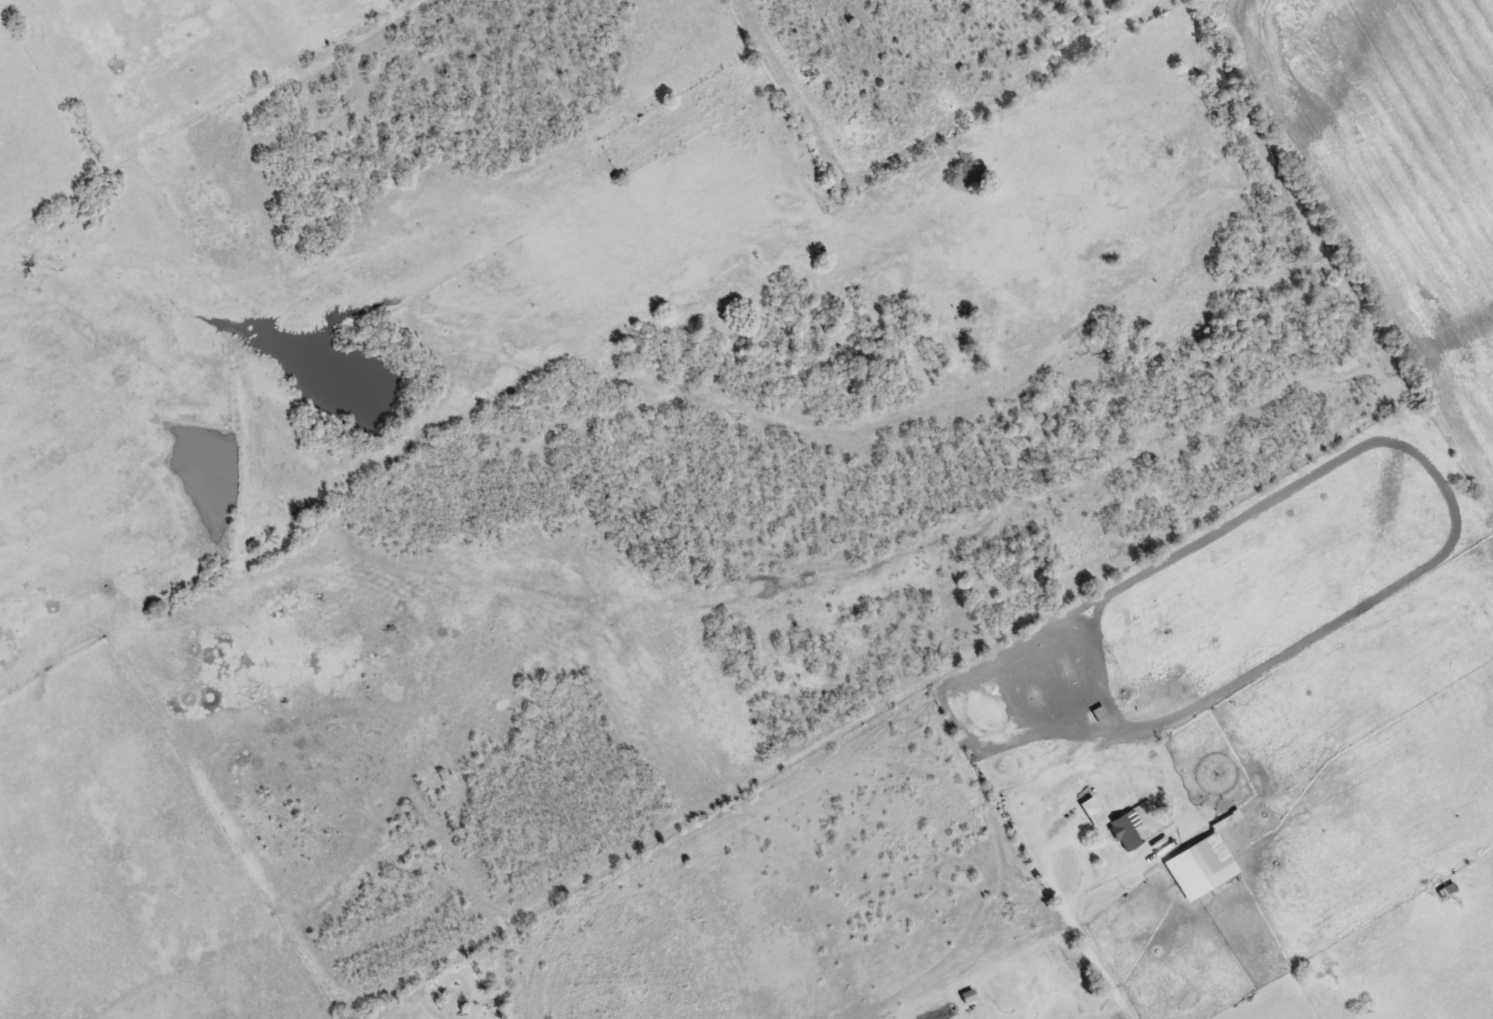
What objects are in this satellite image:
building: (1125, 832)
building: (1447, 888)
building: (968, 995)
road: (1117, 1012)

